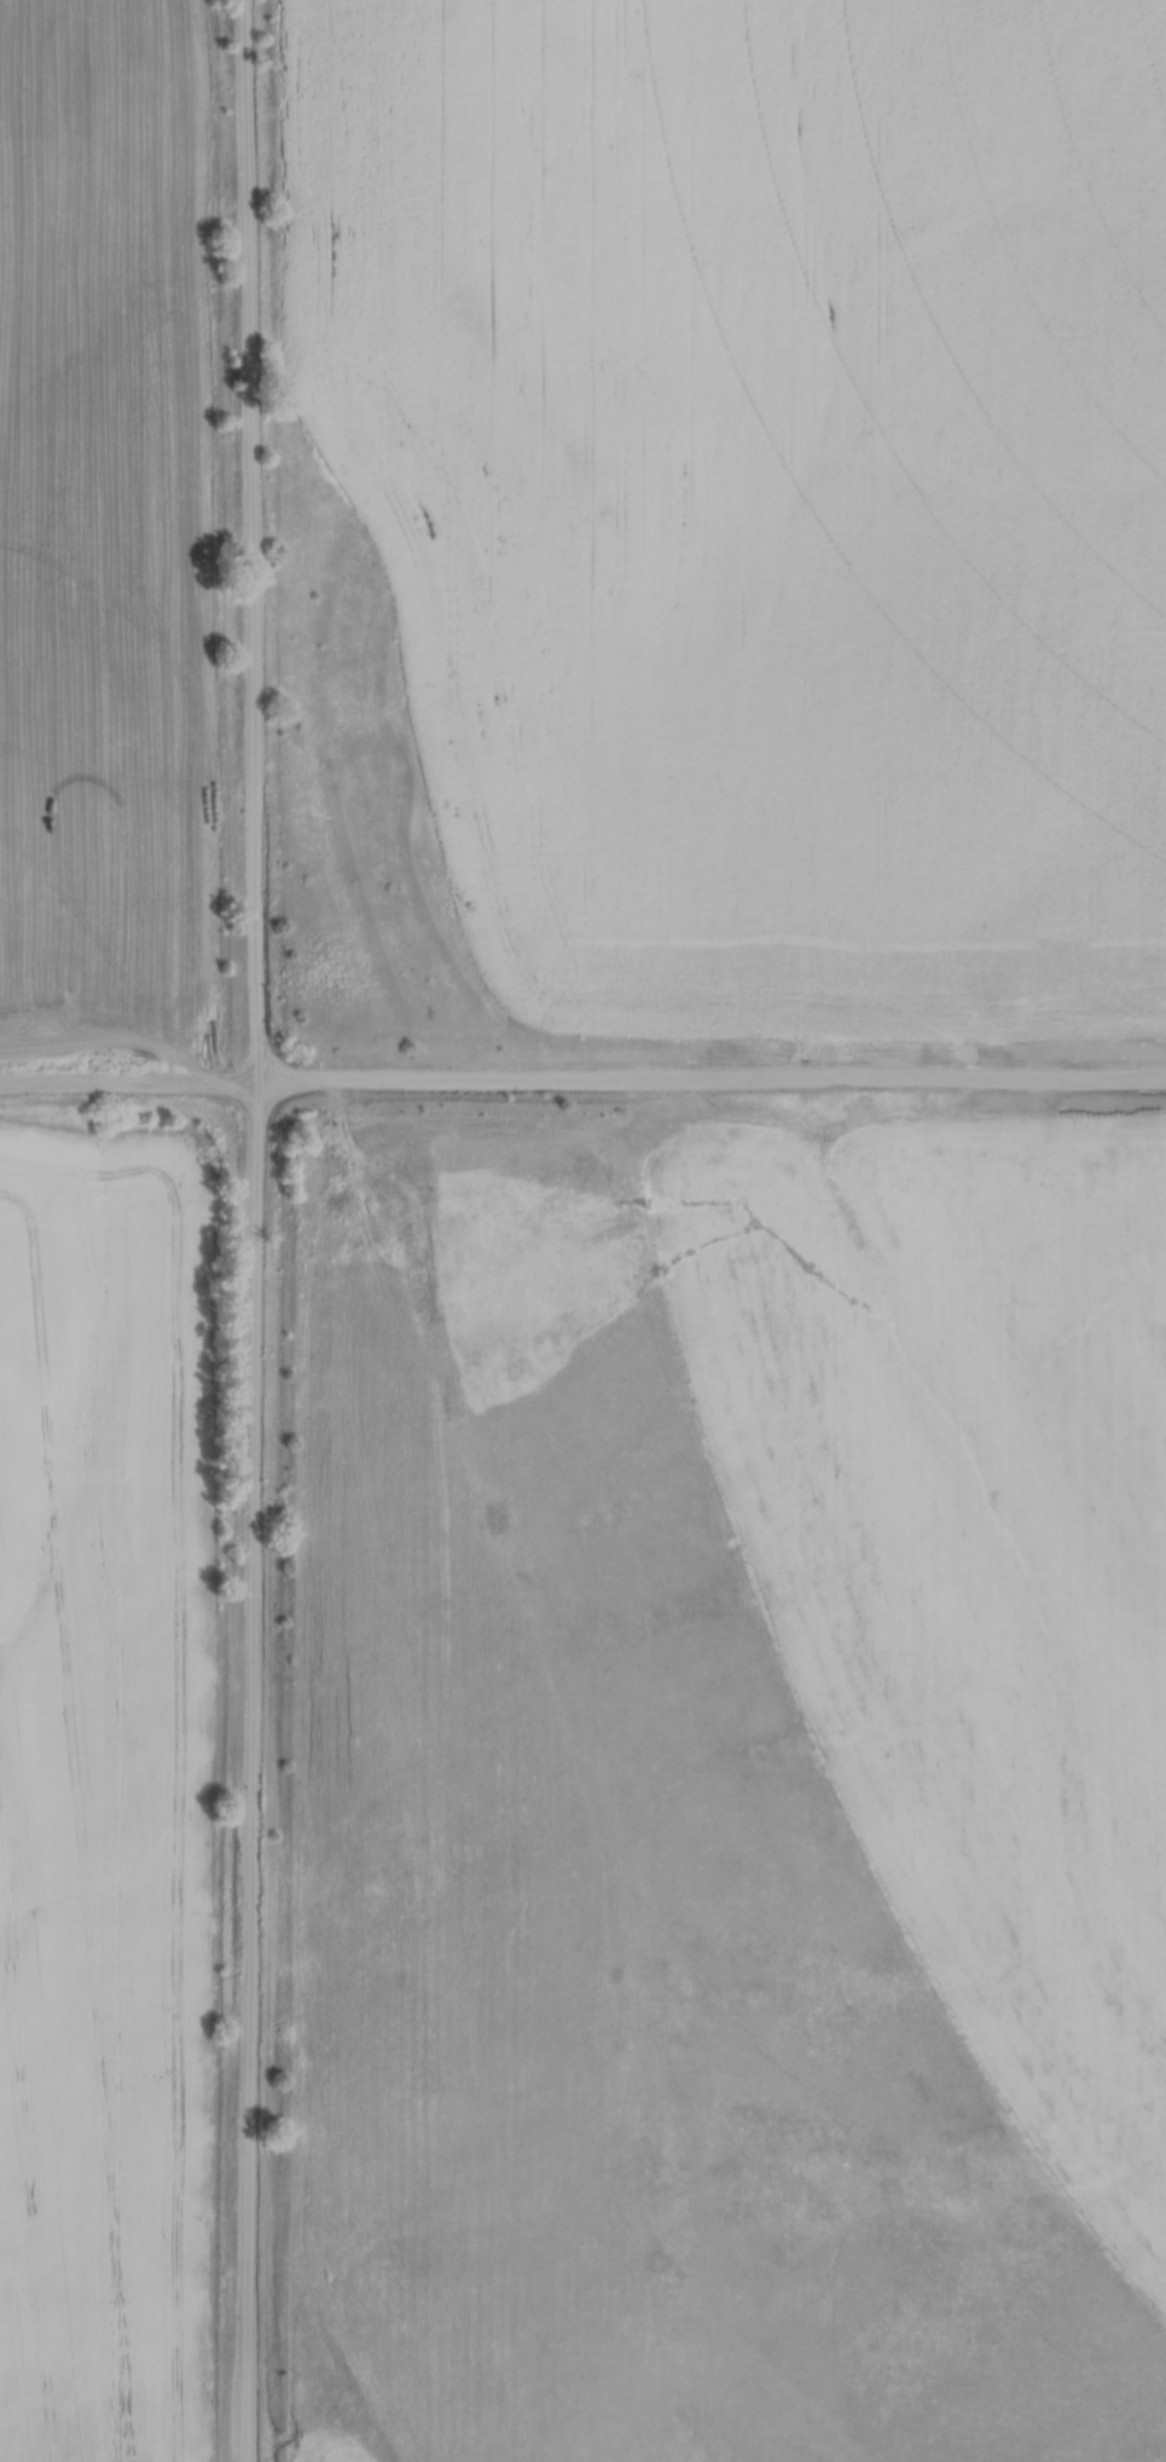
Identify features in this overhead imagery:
road: (582, 1083)
road: (256, 1230)

